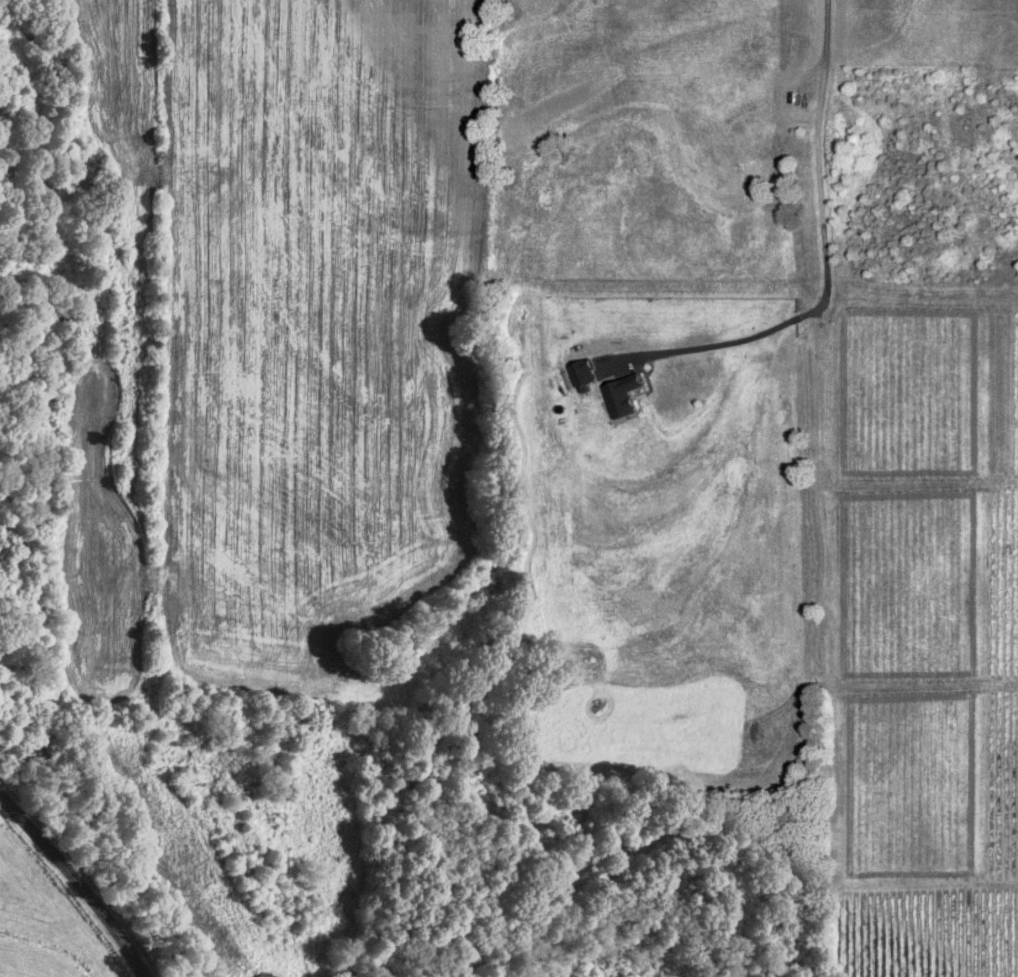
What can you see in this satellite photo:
road: (826, 46)
road: (823, 299)
road: (78, 880)

